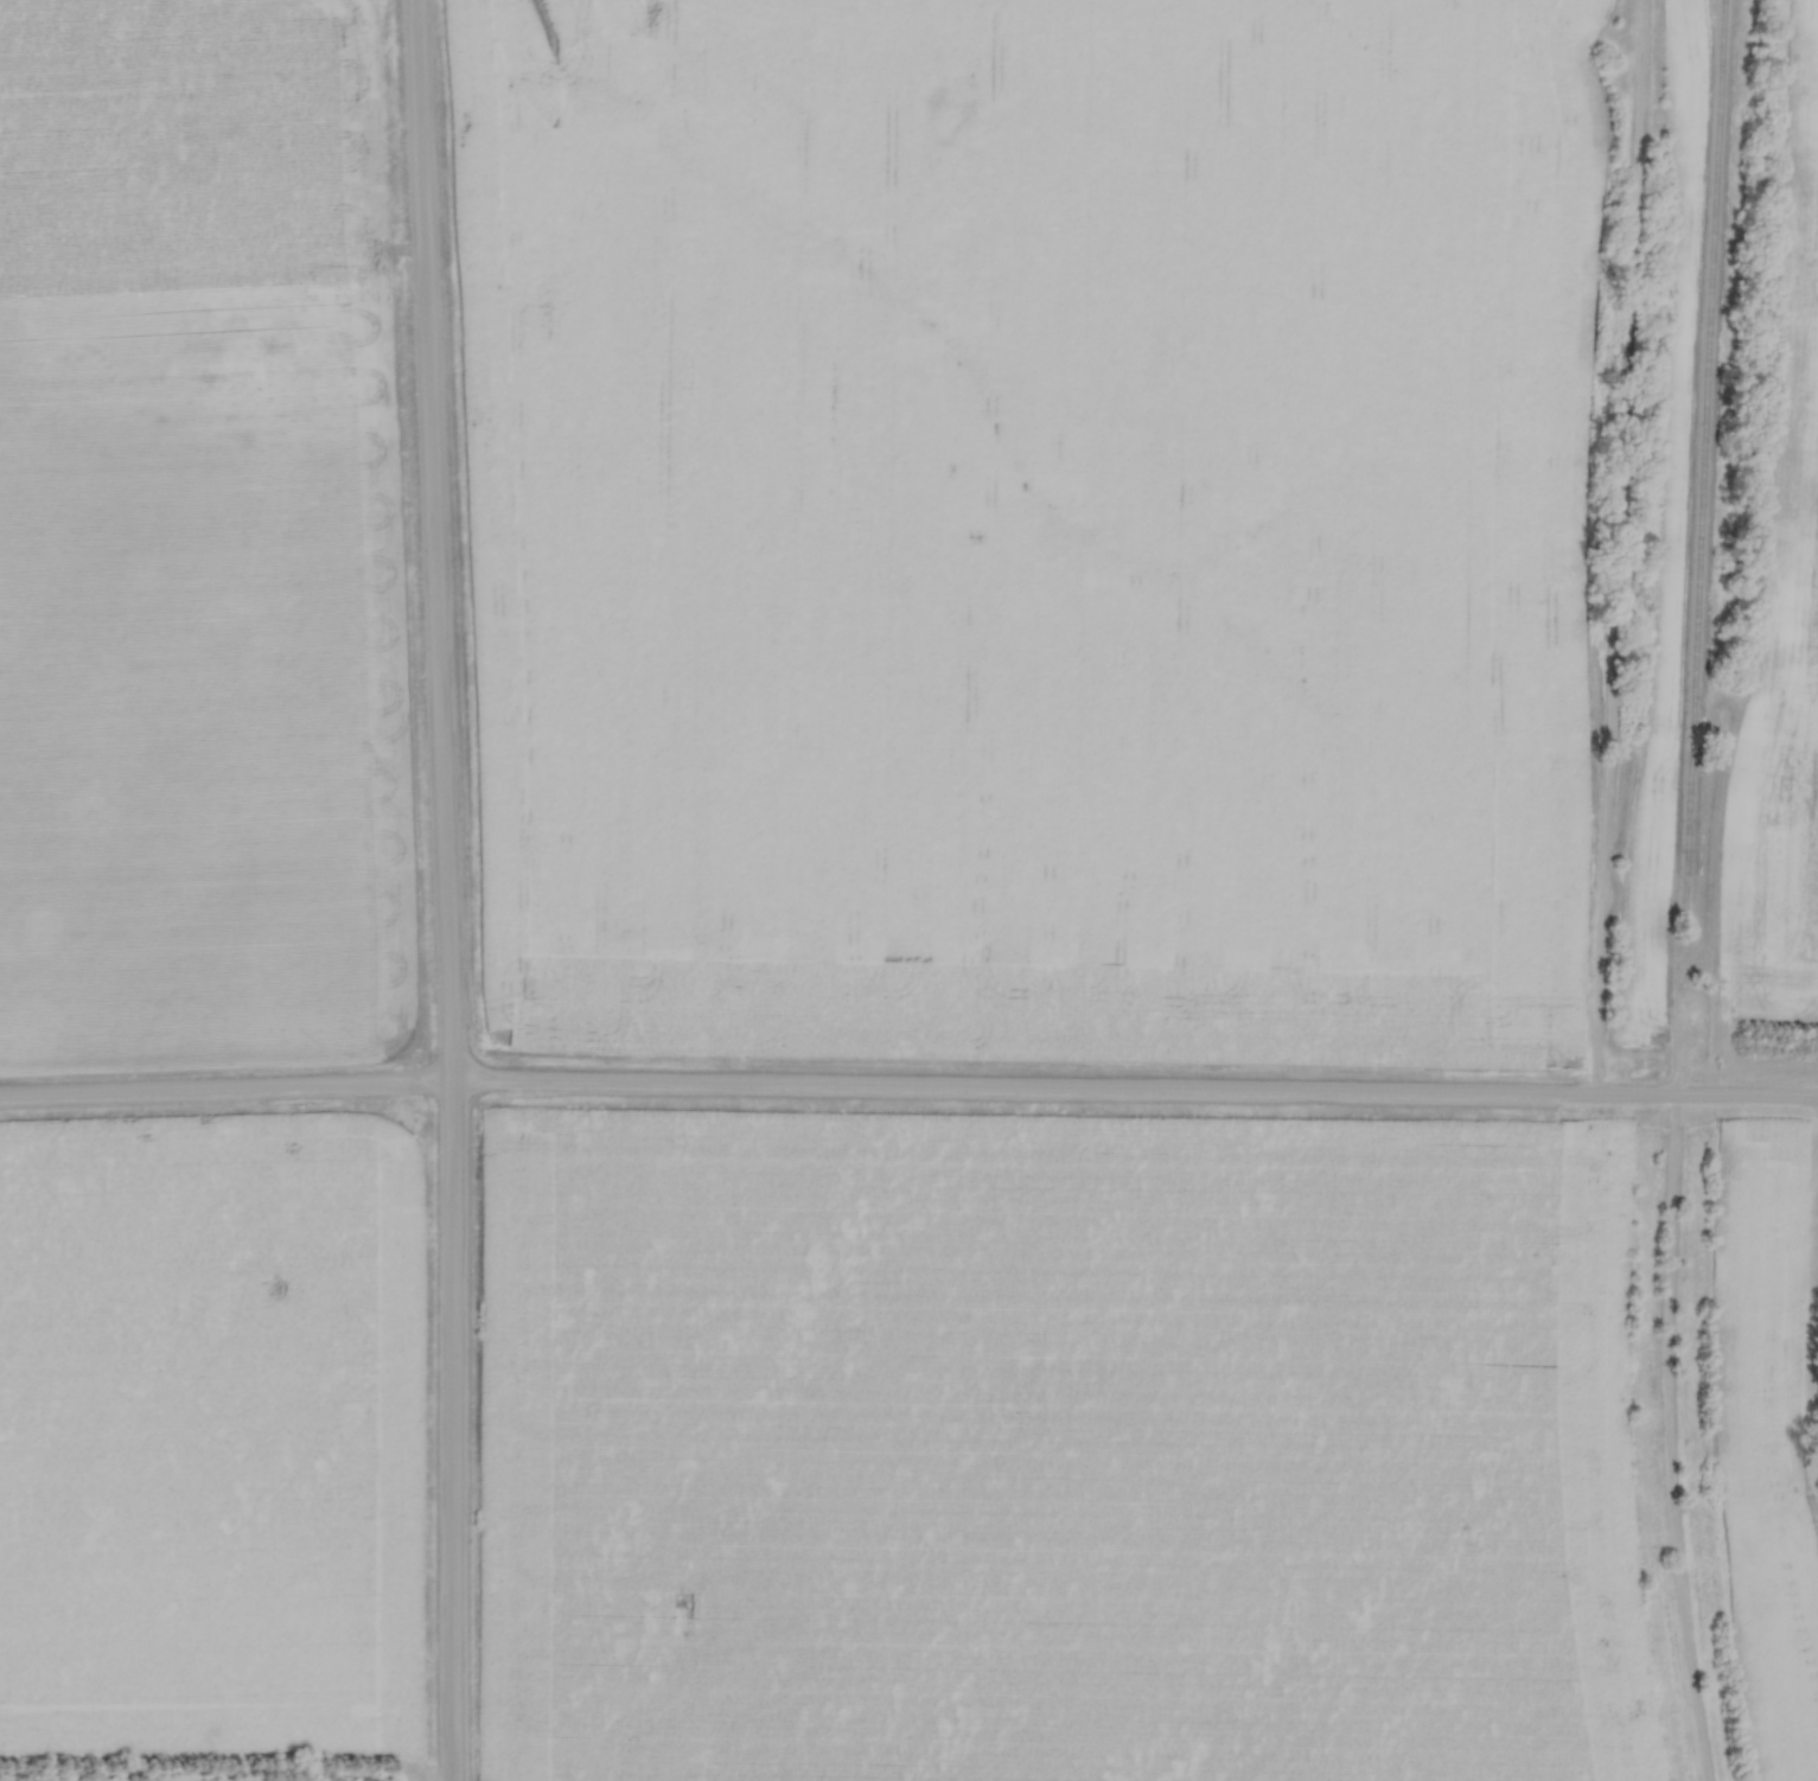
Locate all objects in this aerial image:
building: (1622, 396)
railway: (1704, 454)
crop: (1035, 523)
road: (1612, 545)
road: (444, 889)
road: (797, 1085)
road: (1635, 1093)
road: (1746, 1096)
road: (1817, 1102)
road: (1817, 1240)
road: (1810, 1358)
road: (1664, 1438)
crop: (1768, 1448)

